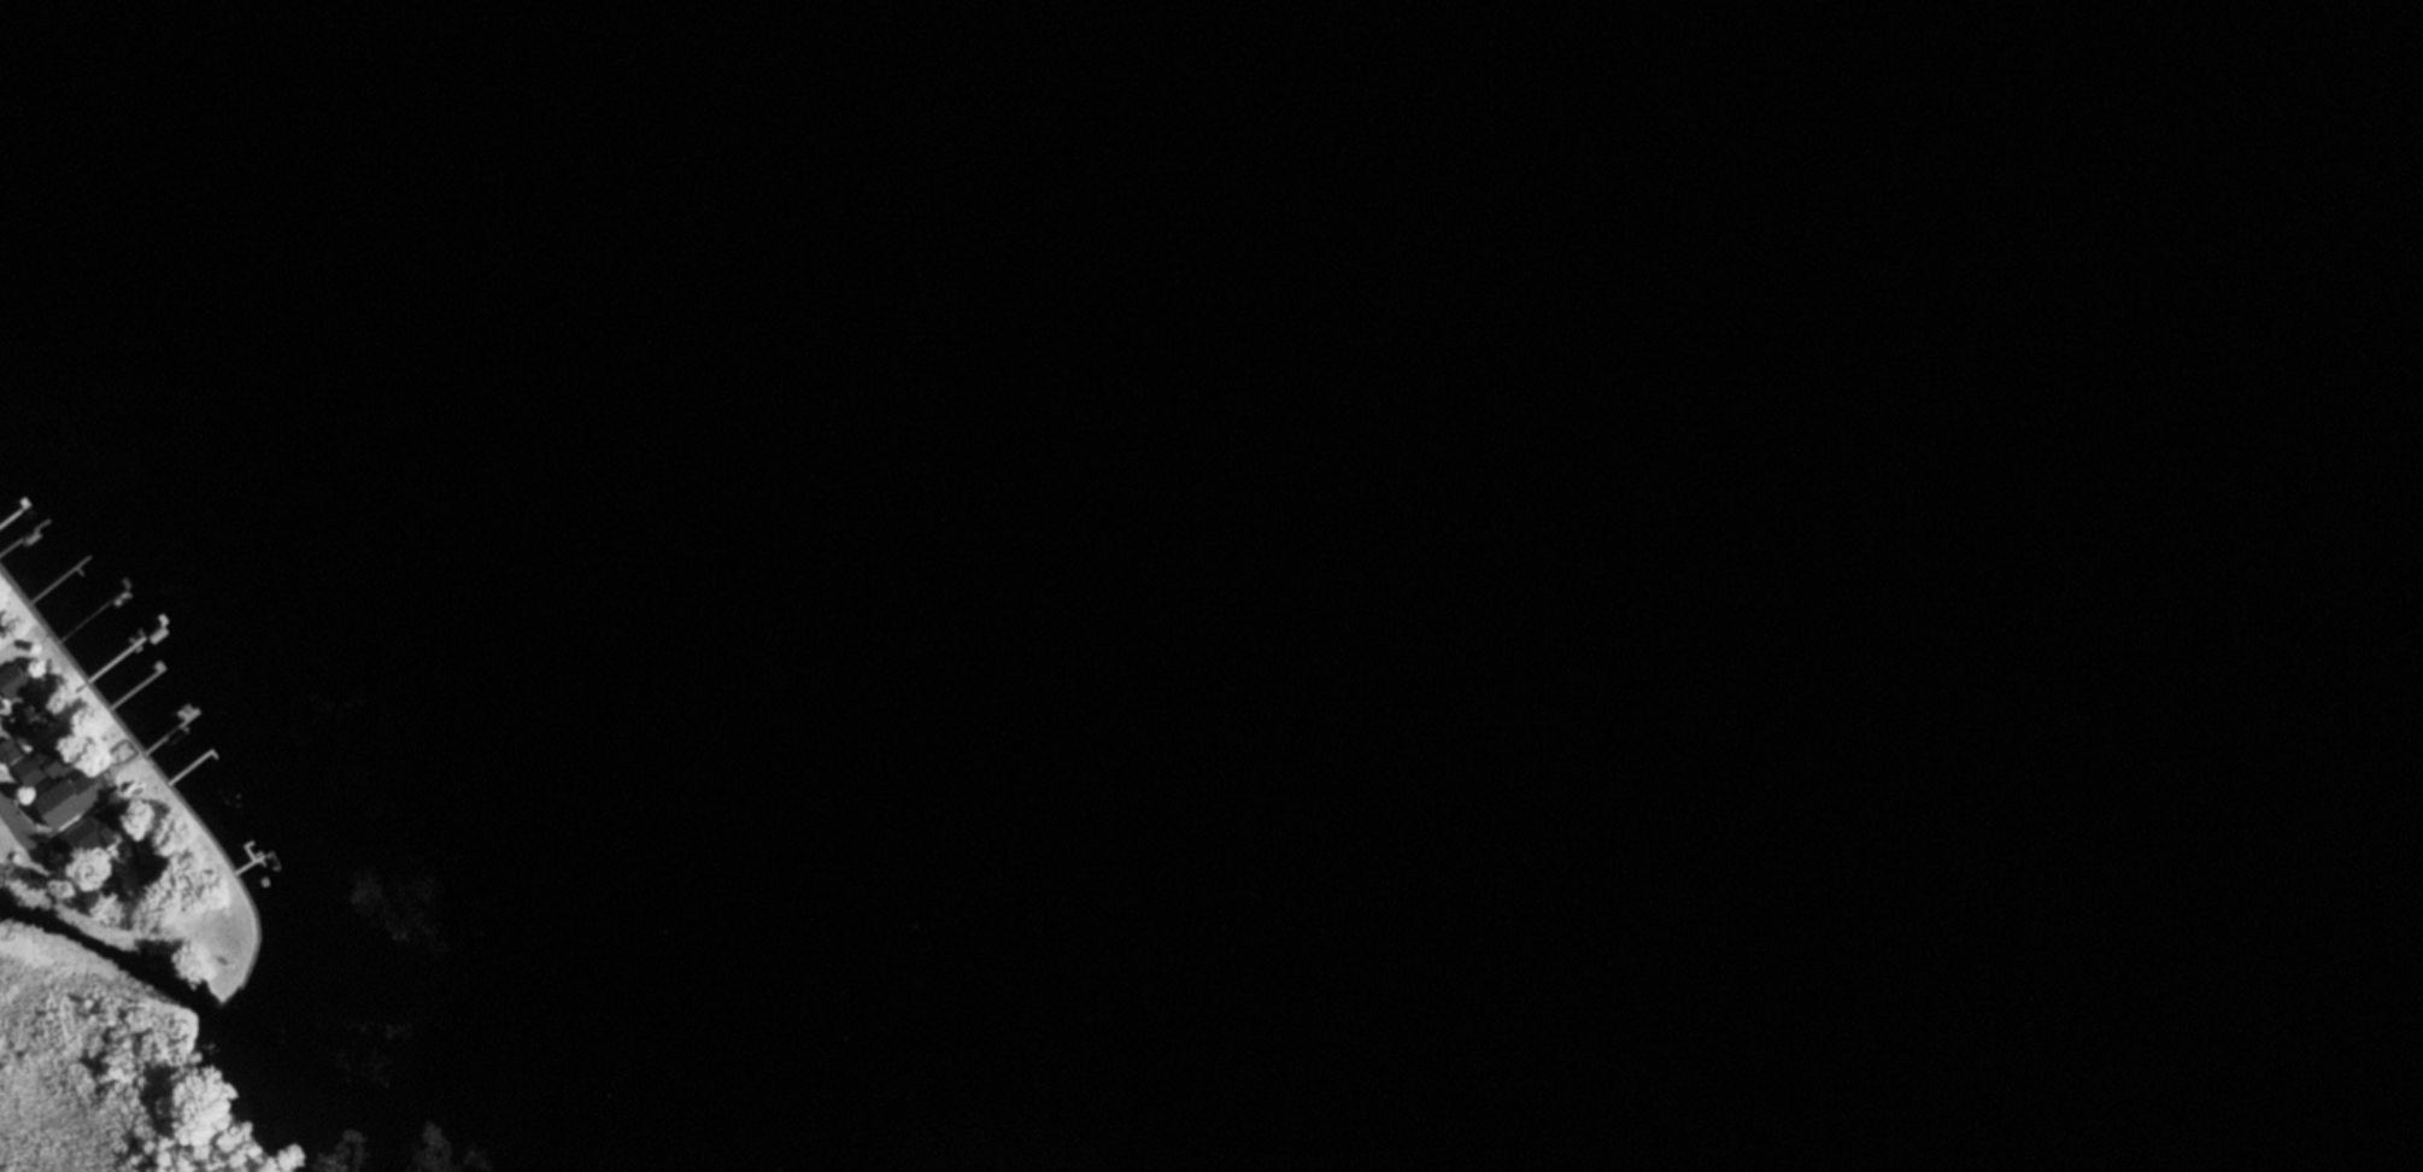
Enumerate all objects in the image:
building: (17, 681)
building: (1, 713)
building: (36, 720)
building: (11, 752)
building: (55, 762)
building: (89, 813)
road: (18, 822)
building: (164, 857)
river: (1327, 1083)

